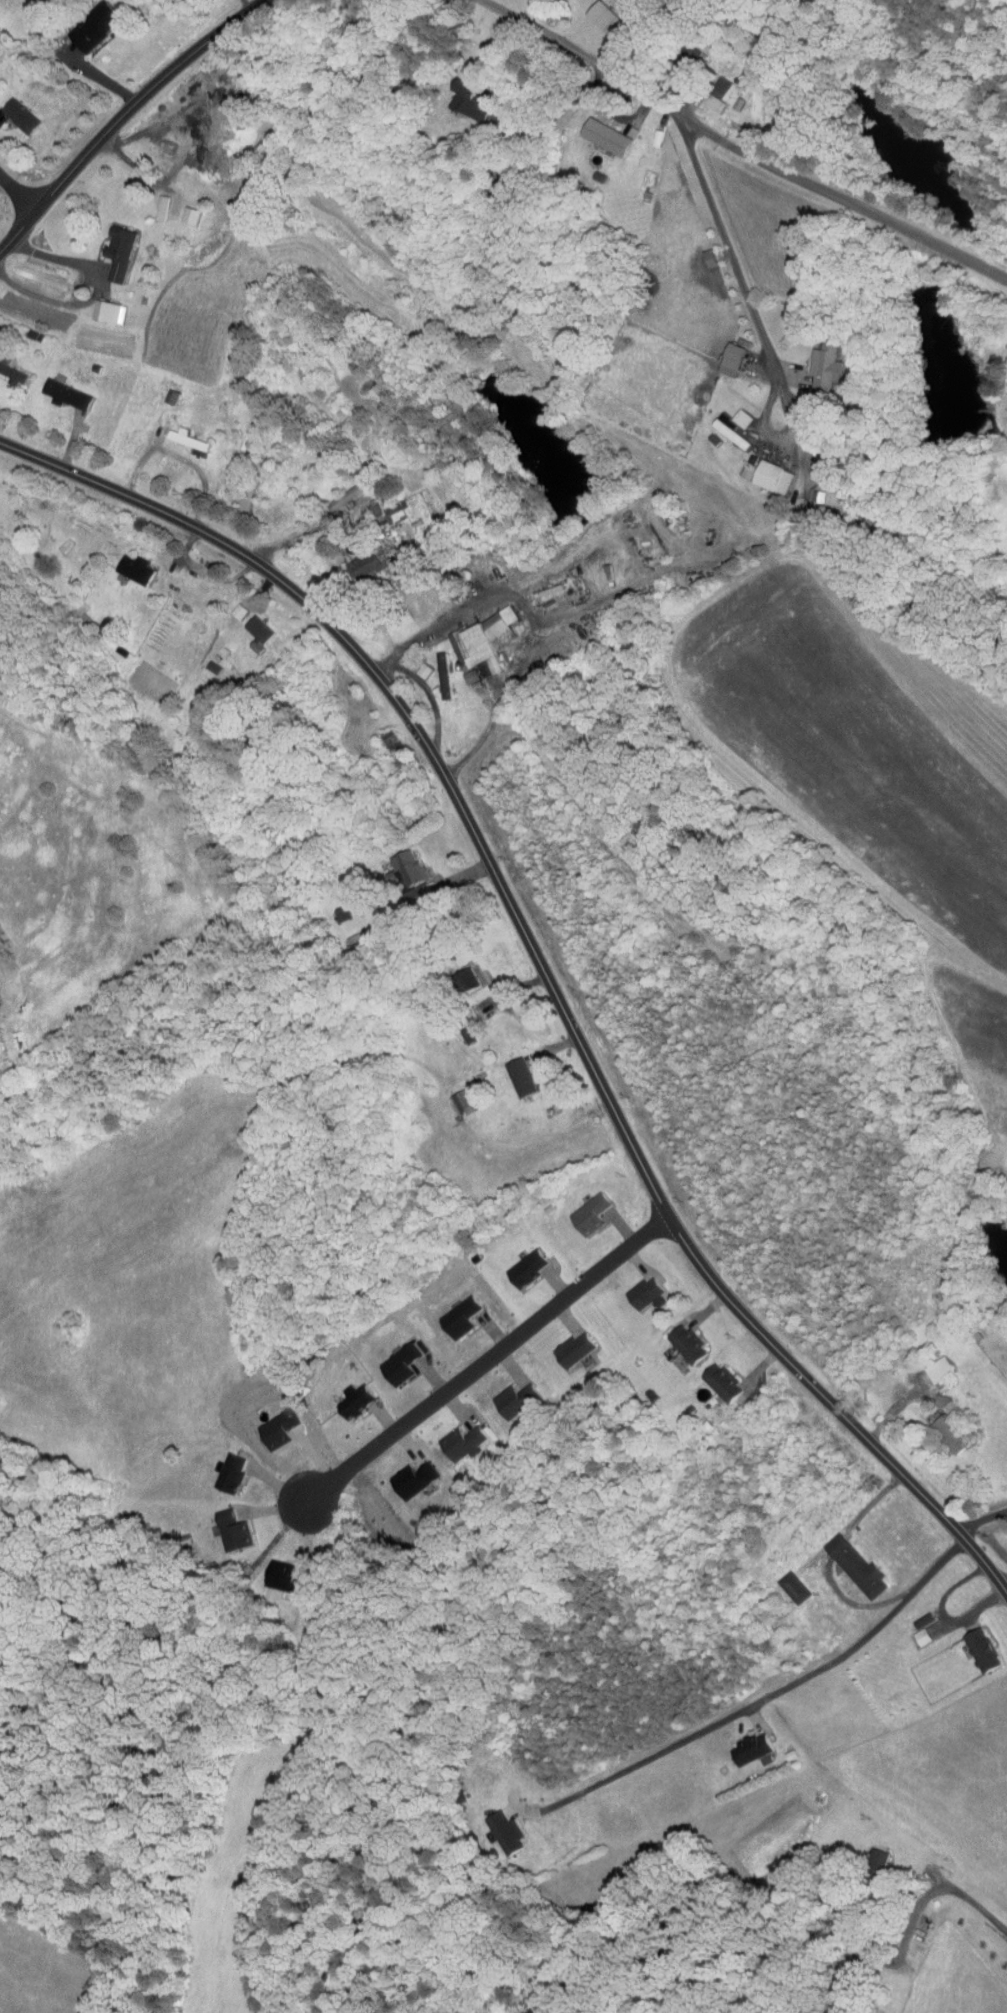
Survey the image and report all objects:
building: (595, 10)
building: (87, 21)
road: (95, 73)
building: (462, 95)
building: (707, 97)
building: (13, 111)
road: (120, 115)
building: (599, 131)
road: (732, 145)
road: (136, 166)
road: (17, 196)
road: (454, 200)
building: (153, 202)
building: (183, 209)
building: (111, 246)
road: (95, 288)
building: (99, 306)
road: (751, 313)
building: (724, 354)
building: (818, 361)
building: (8, 371)
building: (59, 389)
building: (162, 391)
building: (732, 413)
building: (724, 427)
building: (179, 433)
building: (737, 466)
building: (766, 471)
building: (814, 488)
building: (386, 506)
road: (295, 537)
building: (359, 560)
building: (126, 563)
building: (228, 605)
road: (531, 614)
building: (252, 623)
building: (473, 638)
building: (249, 640)
building: (434, 670)
building: (381, 736)
building: (401, 862)
building: (418, 890)
road: (541, 970)
building: (459, 976)
building: (512, 1072)
building: (452, 1096)
building: (582, 1207)
building: (518, 1262)
building: (637, 1286)
building: (452, 1311)
building: (680, 1338)
building: (568, 1343)
building: (392, 1358)
road: (486, 1359)
building: (930, 1363)
building: (714, 1377)
building: (508, 1393)
building: (350, 1394)
building: (269, 1423)
building: (941, 1428)
building: (454, 1436)
building: (222, 1467)
building: (408, 1473)
road: (870, 1504)
building: (225, 1524)
road: (980, 1527)
road: (834, 1543)
building: (847, 1559)
road: (1001, 1580)
building: (784, 1581)
road: (854, 1602)
road: (943, 1613)
building: (914, 1614)
building: (913, 1630)
building: (973, 1644)
road: (762, 1698)
building: (744, 1742)
building: (498, 1828)
road: (935, 1895)

